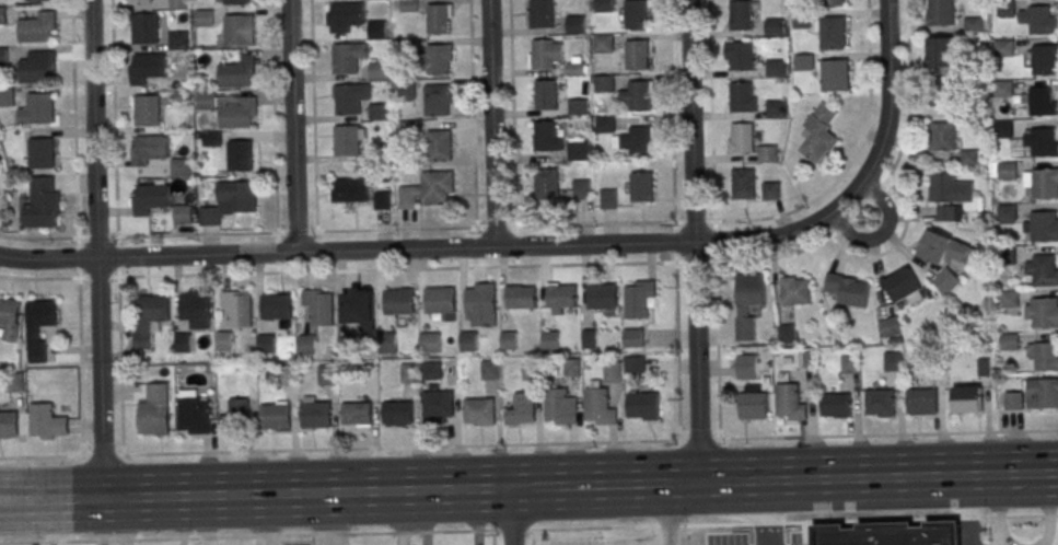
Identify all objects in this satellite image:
building: (39, 0)
building: (235, 1)
building: (139, 2)
building: (832, 2)
building: (177, 4)
building: (408, 5)
building: (603, 5)
building: (940, 12)
building: (542, 13)
building: (636, 14)
building: (741, 14)
building: (2, 15)
building: (345, 15)
building: (205, 19)
building: (438, 19)
building: (1039, 19)
building: (801, 21)
building: (575, 24)
building: (37, 26)
building: (377, 28)
building: (146, 30)
building: (239, 30)
building: (832, 30)
building: (179, 40)
building: (603, 43)
road: (909, 45)
building: (1004, 47)
building: (942, 51)
building: (543, 54)
building: (637, 55)
building: (3, 56)
building: (348, 56)
building: (742, 56)
building: (438, 59)
building: (1045, 60)
building: (804, 61)
building: (575, 65)
building: (38, 67)
building: (146, 68)
building: (776, 68)
building: (377, 70)
building: (236, 71)
building: (835, 74)
building: (603, 83)
building: (405, 89)
building: (1003, 89)
building: (943, 92)
building: (545, 95)
building: (639, 95)
building: (7, 96)
building: (350, 97)
building: (742, 97)
building: (437, 100)
building: (1038, 100)
building: (208, 101)
building: (578, 106)
building: (40, 108)
building: (777, 108)
building: (147, 111)
road: (712, 111)
building: (377, 112)
building: (239, 113)
road: (511, 113)
road: (113, 118)
road: (490, 124)
building: (604, 124)
road: (291, 126)
building: (406, 130)
road: (672, 131)
building: (819, 135)
building: (547, 136)
building: (943, 136)
road: (74, 138)
building: (743, 138)
building: (212, 139)
building: (346, 139)
building: (1030, 140)
building: (640, 141)
building: (439, 144)
building: (148, 149)
building: (577, 150)
building: (40, 153)
building: (767, 154)
building: (240, 155)
road: (853, 158)
building: (970, 158)
building: (179, 169)
building: (1008, 170)
road: (860, 181)
building: (1043, 182)
building: (546, 184)
building: (743, 184)
building: (641, 186)
building: (580, 188)
building: (427, 189)
building: (351, 190)
building: (771, 190)
road: (473, 193)
building: (952, 196)
building: (149, 198)
building: (608, 198)
building: (382, 199)
building: (230, 201)
building: (43, 202)
building: (1007, 213)
building: (183, 214)
building: (1042, 225)
road: (294, 231)
road: (883, 231)
road: (836, 232)
road: (693, 241)
building: (946, 248)
road: (95, 250)
road: (346, 251)
road: (416, 268)
building: (1042, 269)
building: (947, 280)
building: (903, 285)
building: (848, 289)
building: (795, 290)
building: (602, 295)
building: (521, 297)
building: (559, 297)
building: (439, 298)
building: (480, 298)
building: (398, 299)
building: (639, 299)
building: (1010, 299)
building: (747, 303)
building: (356, 304)
building: (195, 305)
building: (277, 305)
building: (237, 306)
building: (319, 306)
building: (1042, 313)
building: (10, 317)
building: (149, 318)
building: (38, 326)
building: (890, 326)
building: (788, 334)
building: (590, 337)
building: (633, 337)
building: (510, 338)
building: (550, 338)
building: (224, 340)
building: (468, 340)
building: (182, 341)
building: (429, 341)
building: (266, 343)
building: (386, 343)
building: (307, 345)
building: (347, 345)
road: (79, 346)
building: (1044, 355)
building: (895, 361)
building: (636, 363)
building: (850, 363)
building: (572, 366)
building: (747, 366)
building: (490, 369)
building: (532, 369)
building: (431, 370)
building: (614, 370)
building: (410, 372)
building: (289, 374)
building: (327, 375)
building: (14, 382)
building: (1043, 393)
building: (968, 398)
building: (923, 401)
building: (1014, 401)
building: (882, 402)
building: (438, 403)
building: (790, 403)
building: (643, 404)
building: (836, 405)
building: (560, 406)
building: (600, 406)
building: (754, 406)
building: (521, 409)
building: (154, 410)
building: (478, 410)
building: (193, 413)
building: (234, 413)
building: (397, 414)
building: (316, 415)
building: (358, 415)
building: (275, 416)
building: (46, 421)
building: (8, 424)
road: (868, 434)
road: (399, 447)
road: (60, 455)
road: (528, 487)
road: (970, 509)
road: (767, 512)
road: (665, 514)
road: (510, 517)
road: (528, 530)
road: (492, 537)
road: (532, 537)

